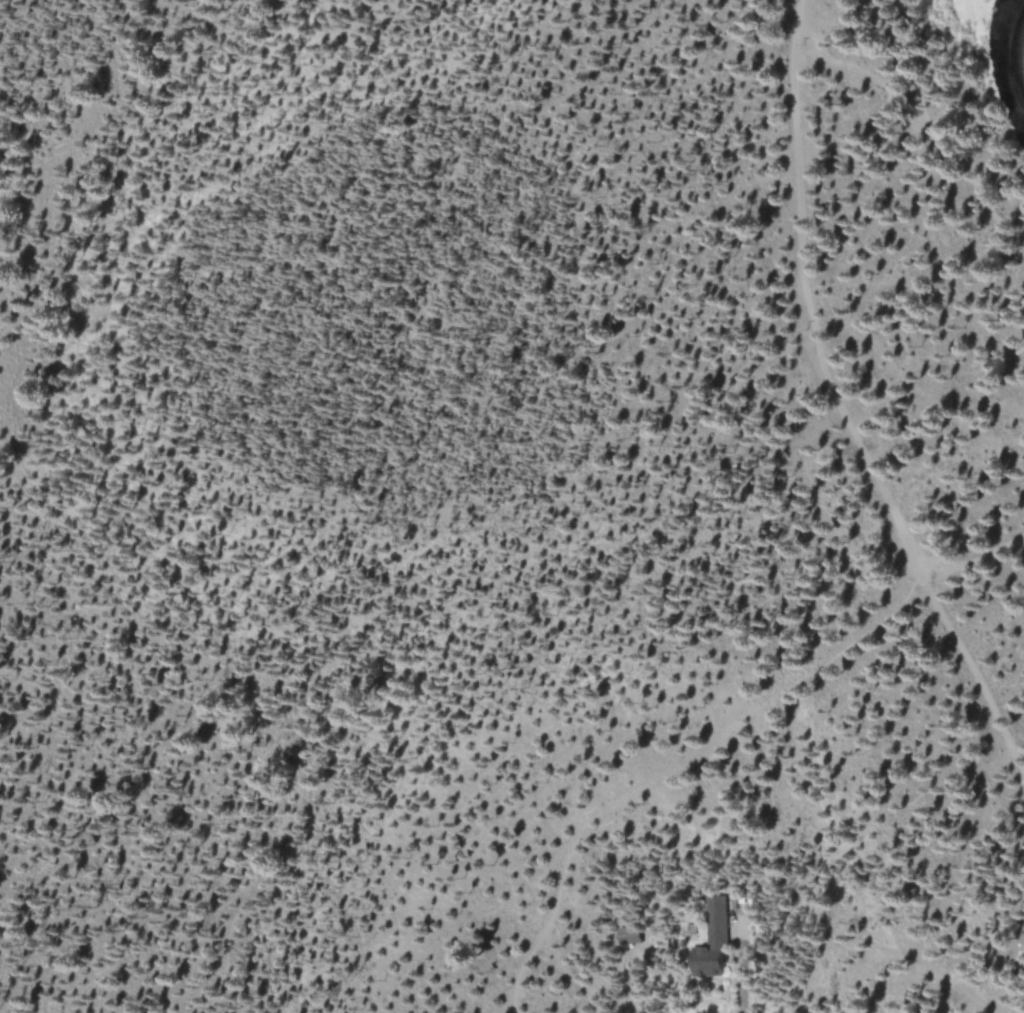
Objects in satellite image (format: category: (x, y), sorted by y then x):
road: (930, 129)
road: (836, 402)
road: (413, 529)
road: (714, 732)
building: (630, 935)
building: (711, 942)
road: (739, 962)

